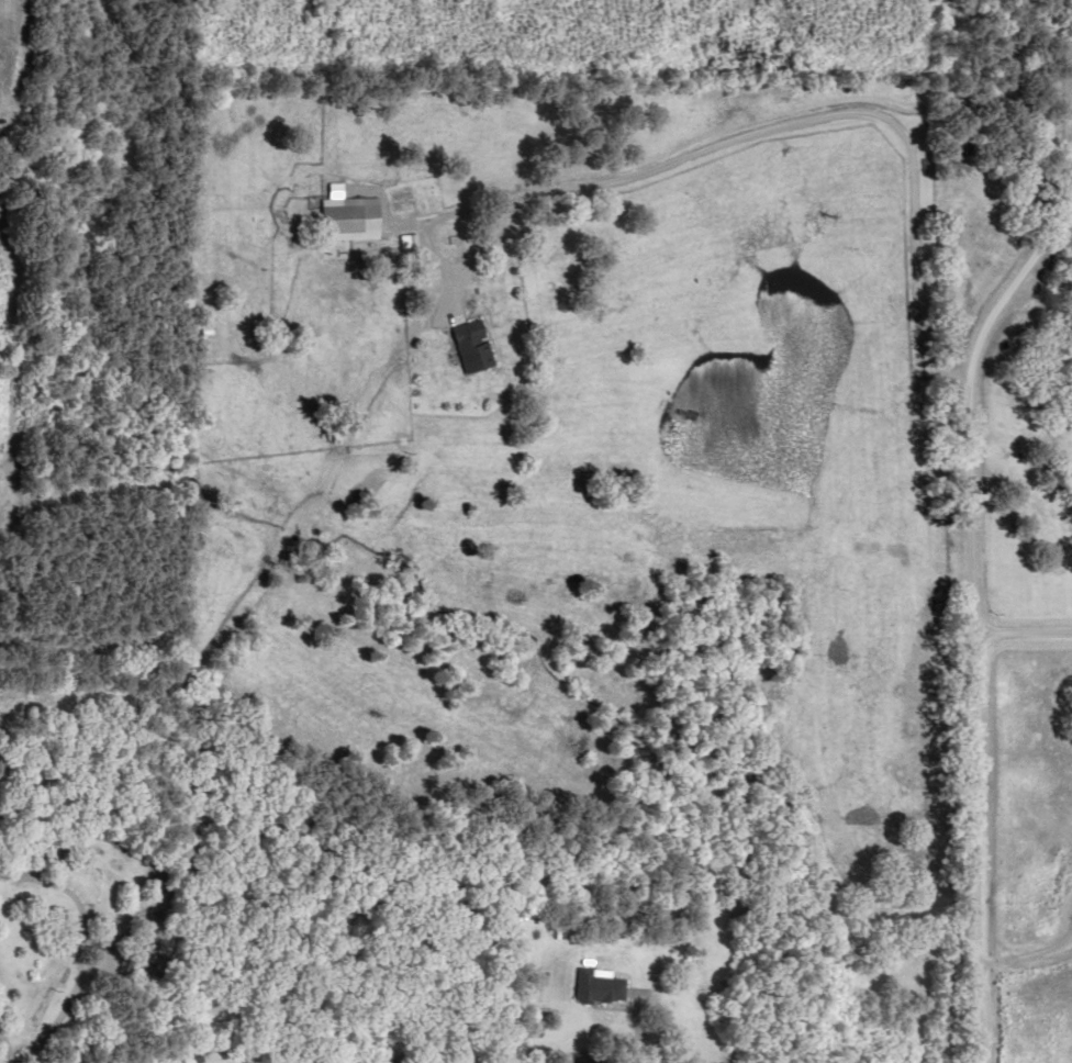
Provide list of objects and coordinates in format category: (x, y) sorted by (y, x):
road: (949, 91)
building: (350, 220)
building: (473, 346)
road: (282, 538)
road: (957, 622)
road: (1014, 634)
road: (1015, 959)
building: (603, 988)

